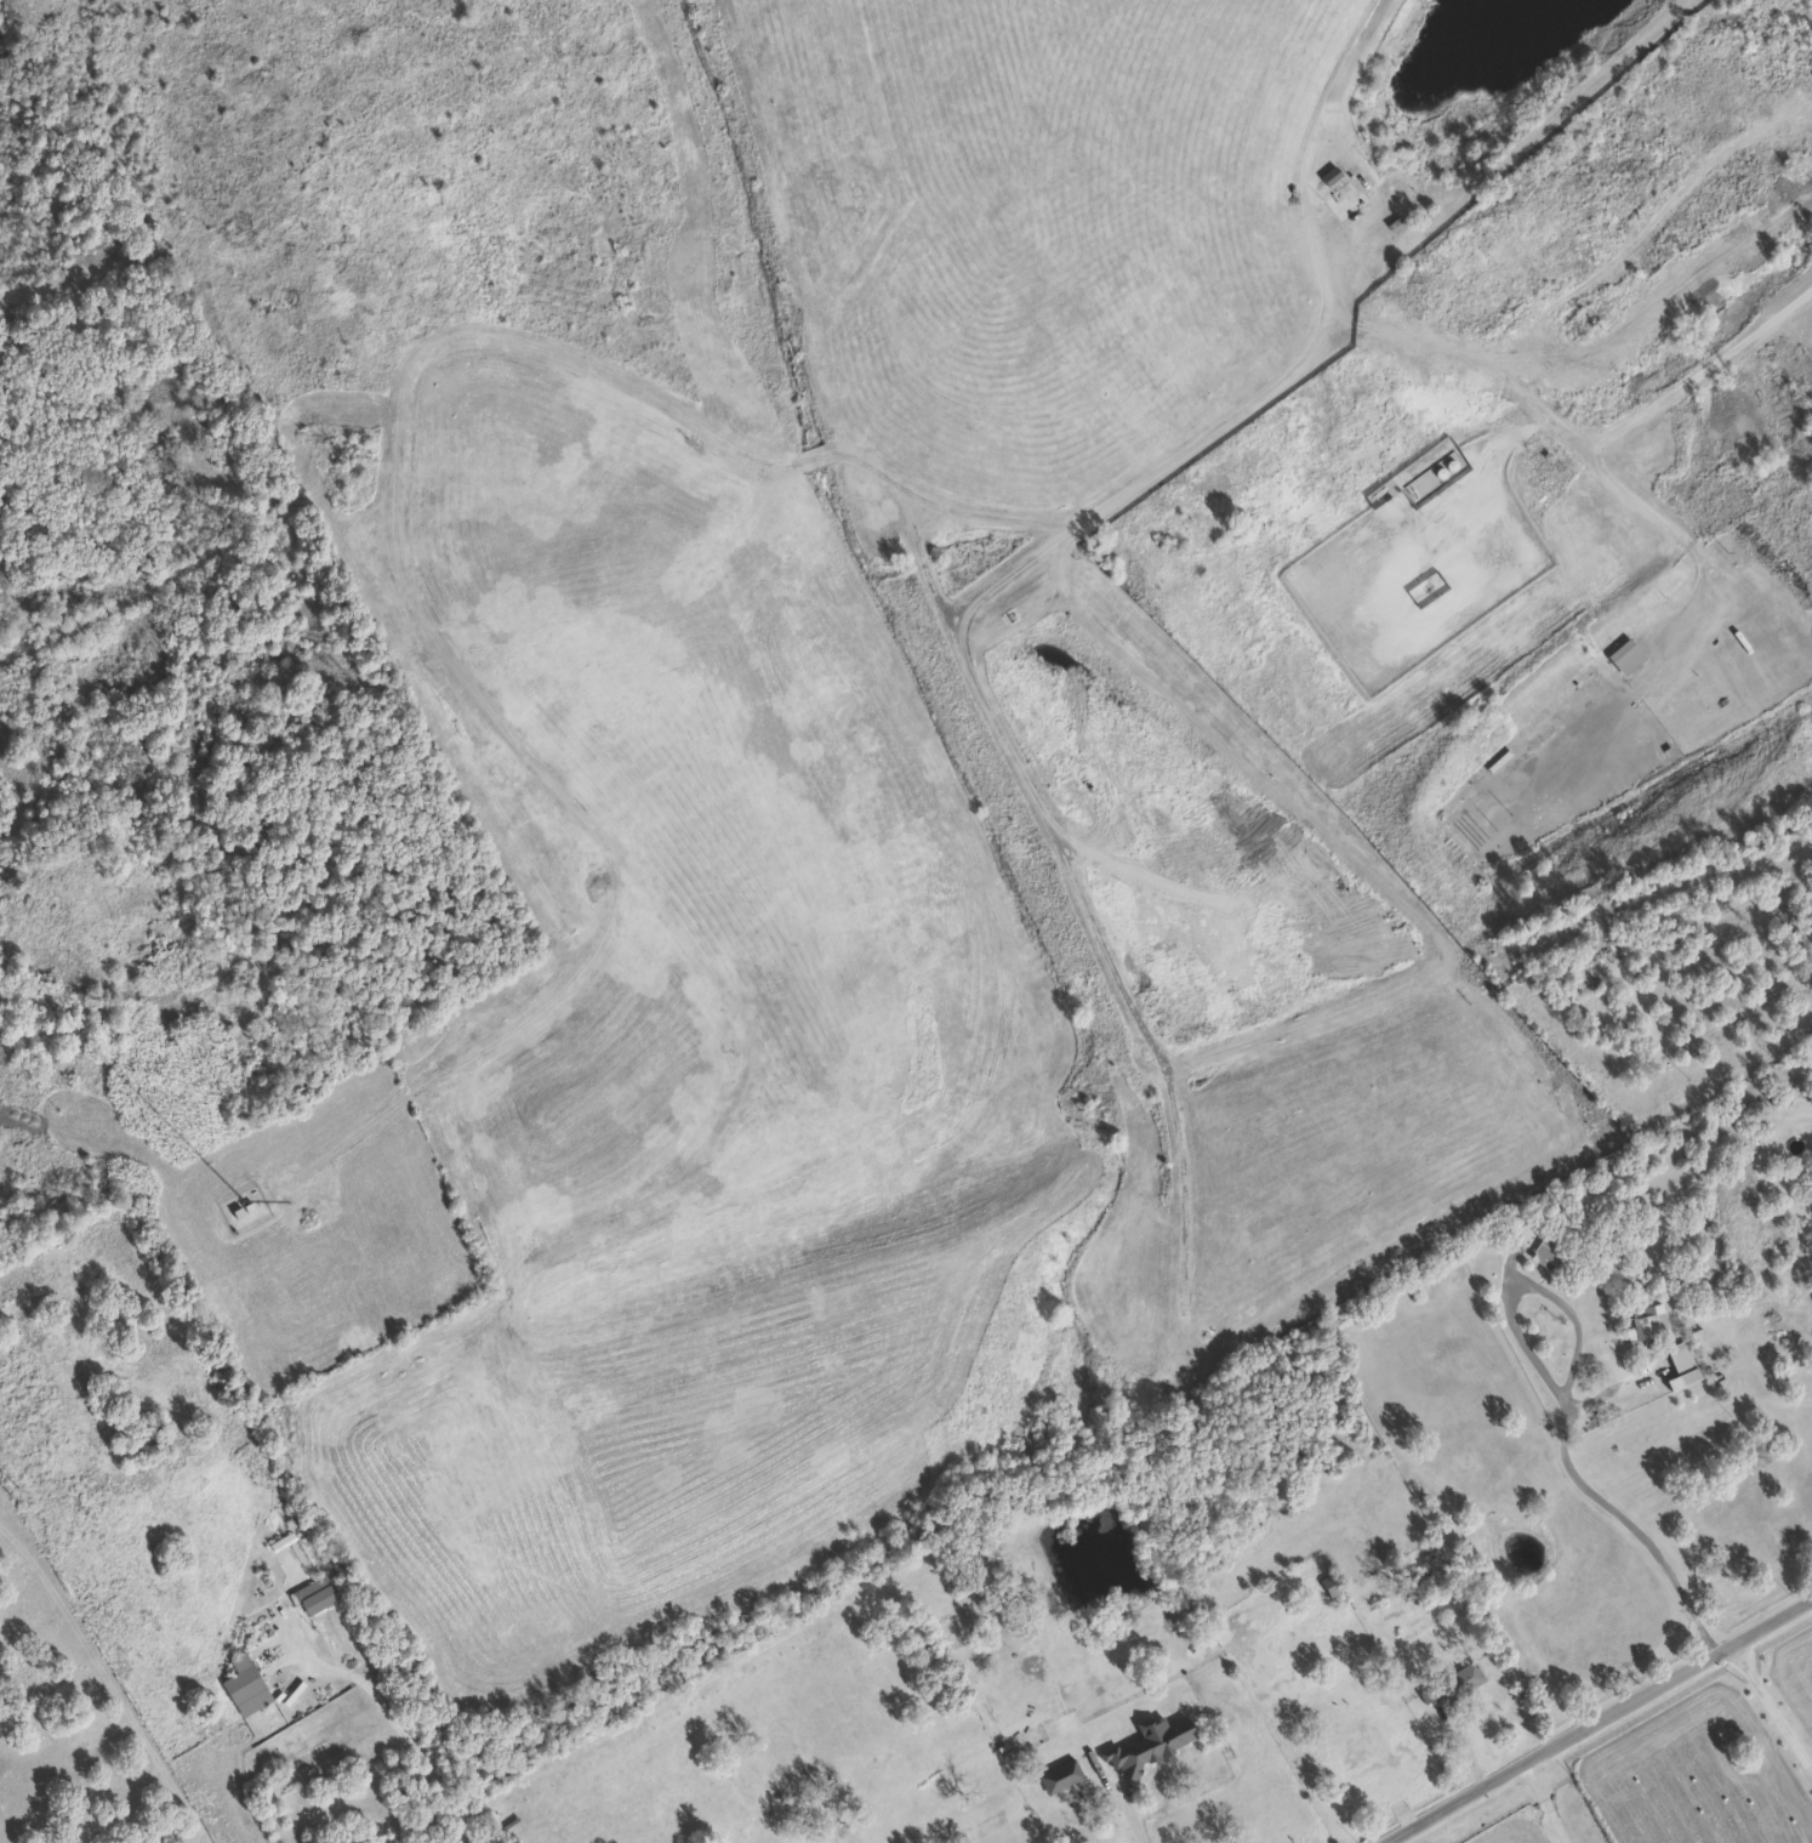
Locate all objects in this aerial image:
road: (1371, 325)
road: (579, 358)
road: (1617, 428)
building: (1625, 656)
building: (1521, 1229)
building: (1550, 1251)
building: (1646, 1321)
building: (1679, 1364)
road: (1568, 1407)
building: (313, 1594)
building: (240, 1677)
building: (1455, 1682)
road: (1776, 1697)
road: (398, 1720)
road: (1602, 1720)
road: (1545, 1804)
road: (1136, 1814)
building: (1079, 1825)
building: (849, 1841)

